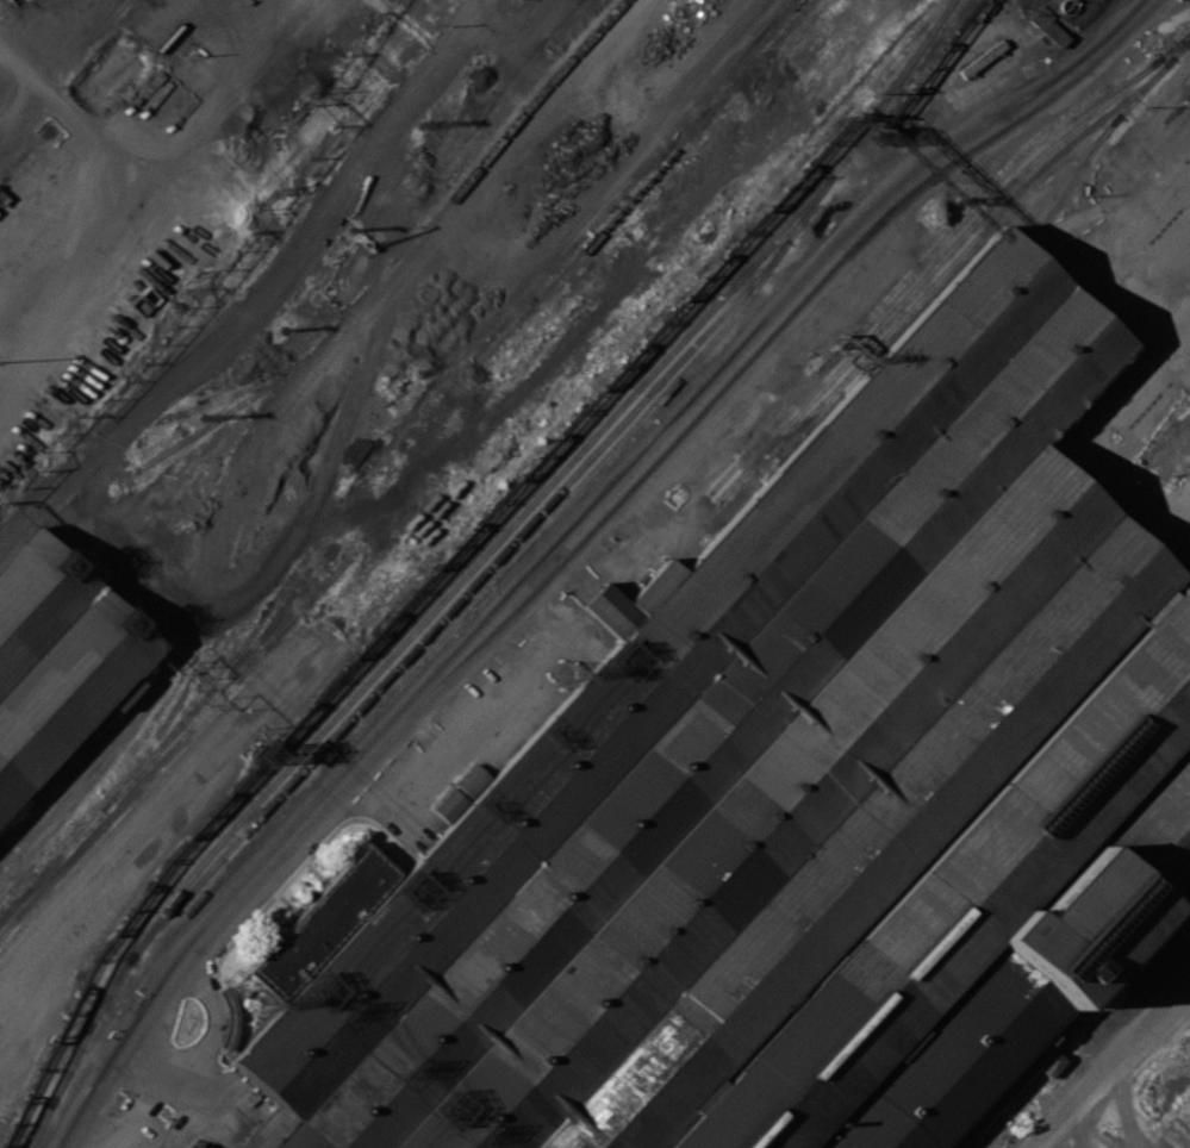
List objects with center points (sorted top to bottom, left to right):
building: (1048, 26)
road: (154, 133)
railway: (1099, 135)
railway: (634, 179)
railway: (1073, 179)
railway: (644, 182)
road: (61, 226)
railway: (411, 244)
railway: (554, 249)
railway: (942, 255)
road: (1095, 257)
railway: (922, 260)
railway: (951, 264)
road: (262, 286)
road: (411, 393)
road: (1097, 444)
road: (567, 537)
railway: (466, 557)
railway: (447, 593)
building: (36, 598)
railway: (457, 600)
railway: (465, 609)
building: (67, 688)
road: (101, 755)
building: (793, 804)
road: (1116, 1068)
road: (1047, 1146)

